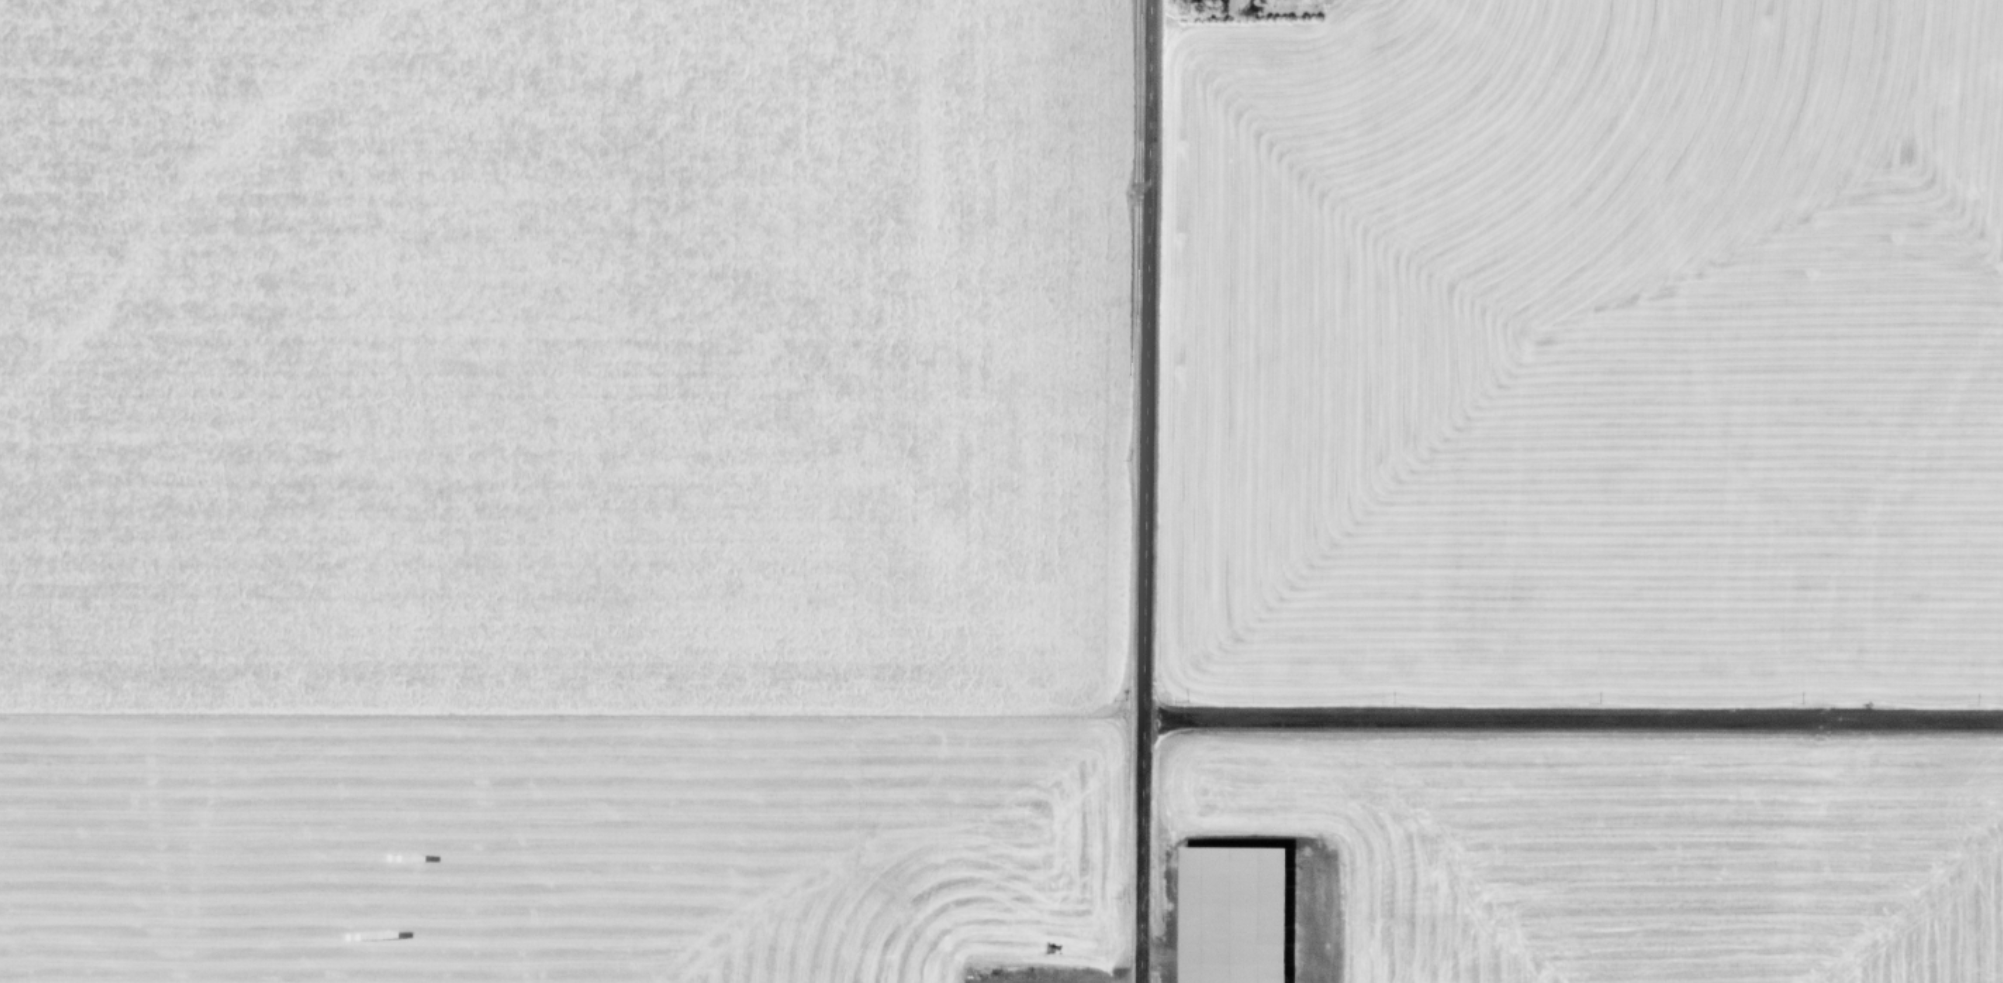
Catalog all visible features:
crop: (1582, 347)
crop: (552, 490)
road: (1137, 491)
road: (1568, 719)
crop: (1582, 871)

